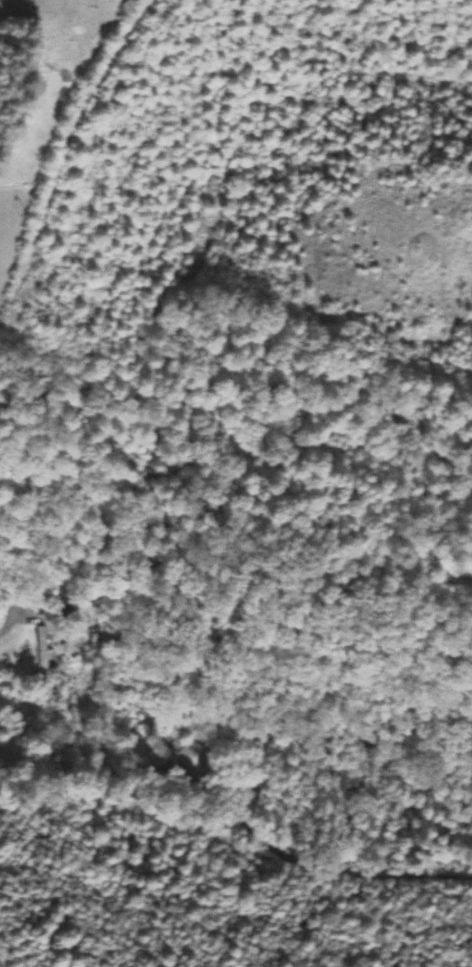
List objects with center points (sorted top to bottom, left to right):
road: (7, 614)
building: (42, 648)
road: (234, 822)

